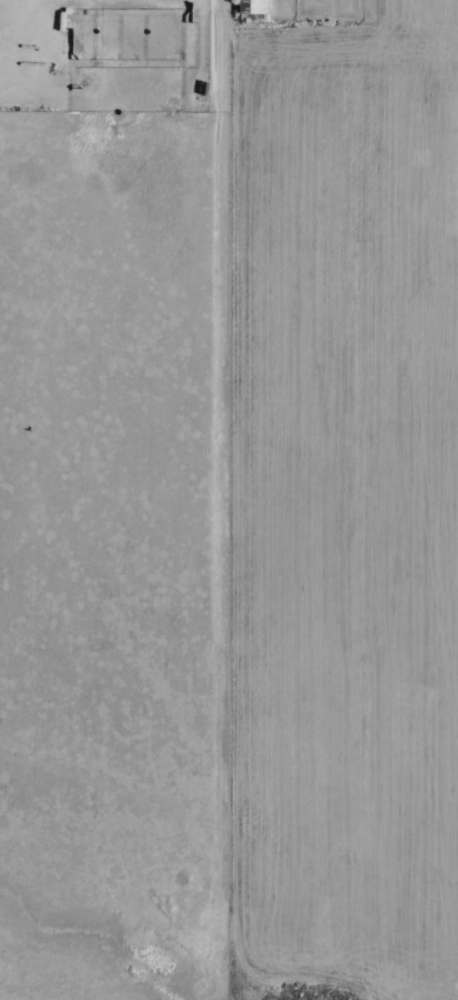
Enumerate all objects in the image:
building: (255, 7)

